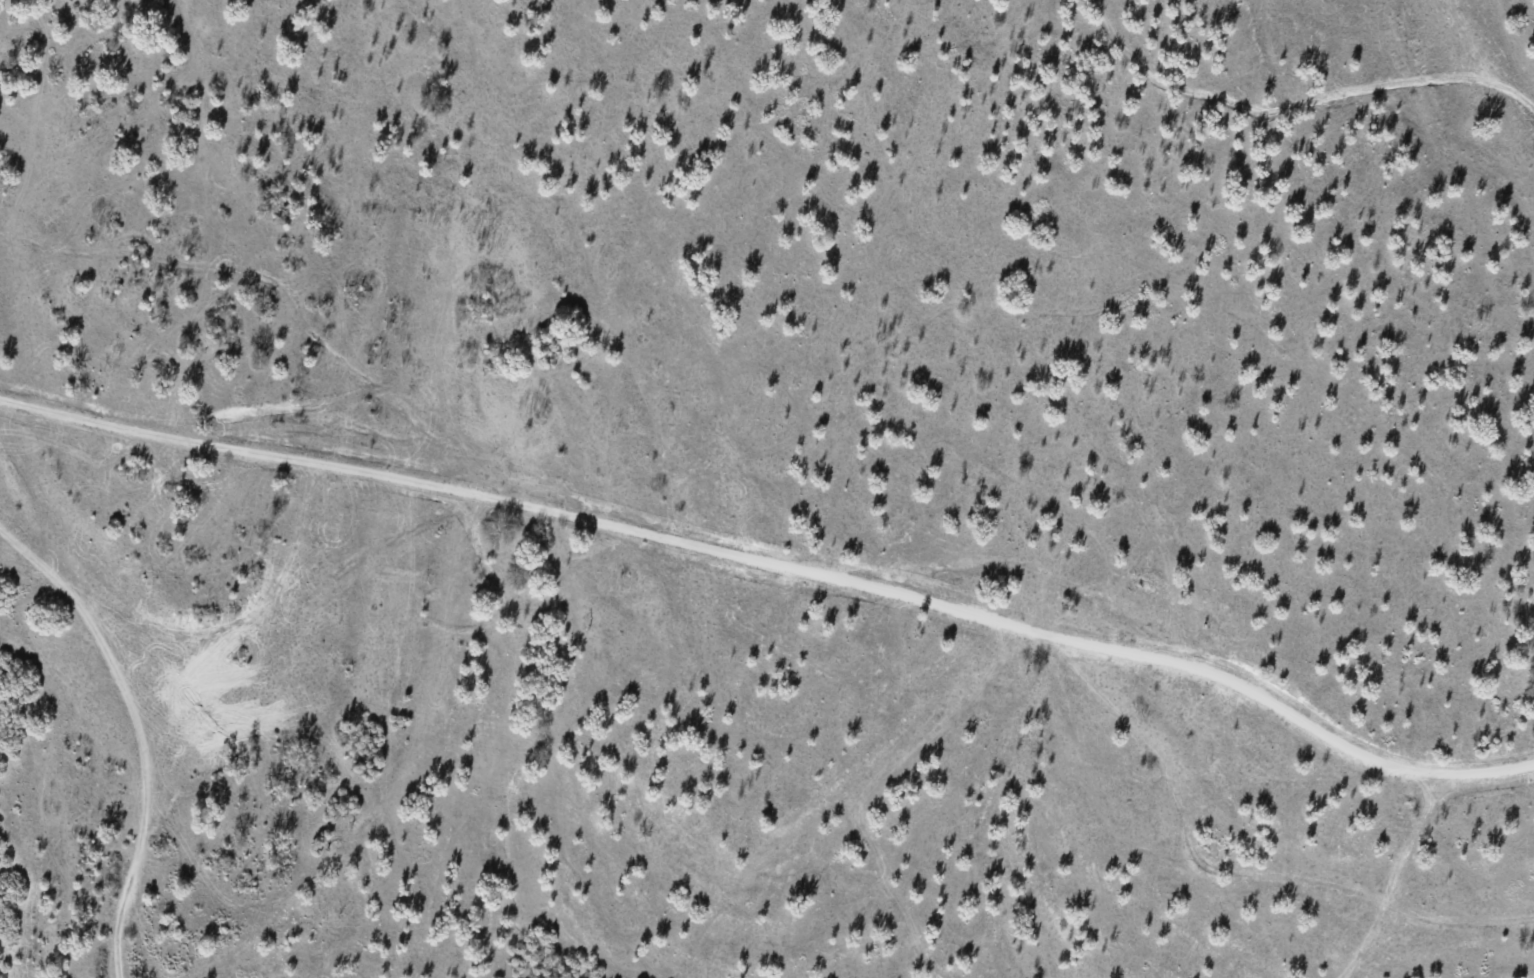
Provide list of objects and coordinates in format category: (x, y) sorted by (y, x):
road: (780, 554)

